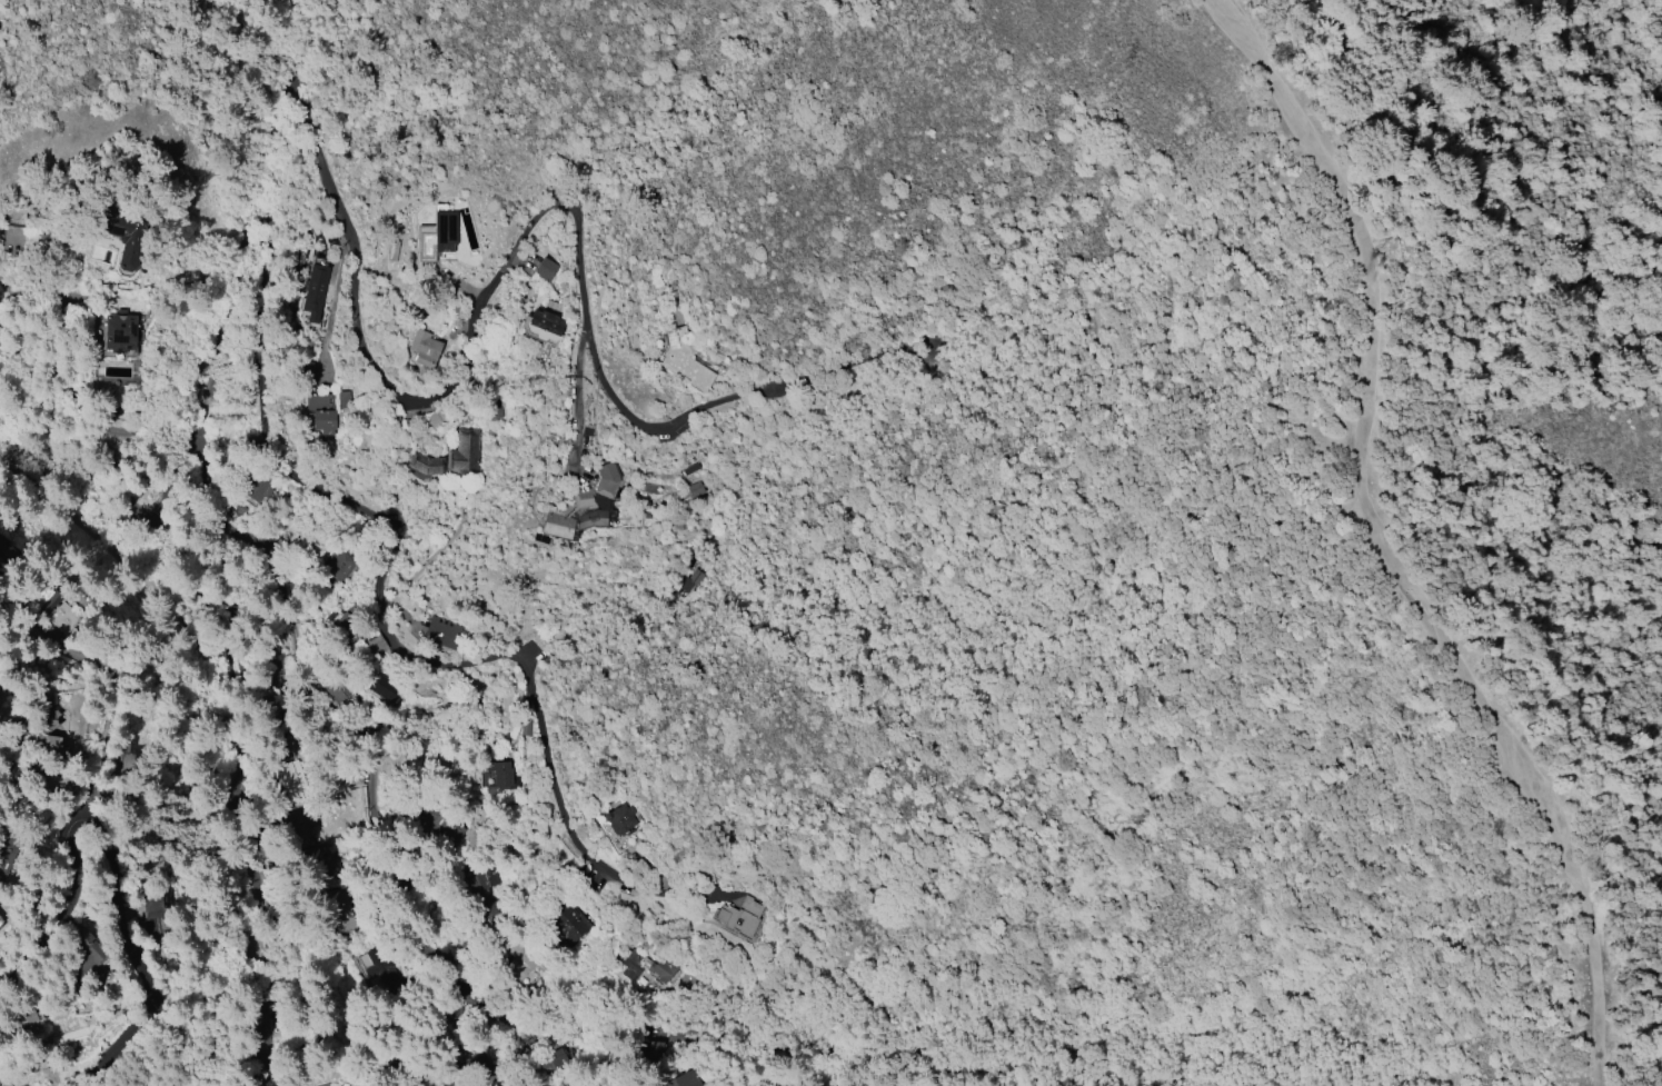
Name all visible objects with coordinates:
building: (125, 235)
building: (435, 237)
building: (546, 268)
building: (314, 291)
road: (479, 325)
building: (544, 326)
building: (119, 332)
building: (424, 348)
building: (685, 360)
building: (307, 371)
building: (344, 399)
road: (203, 411)
building: (321, 411)
building: (436, 418)
building: (465, 455)
building: (425, 466)
building: (258, 485)
road: (90, 486)
building: (650, 488)
building: (695, 488)
building: (585, 506)
road: (1383, 547)
building: (4, 548)
building: (339, 567)
building: (696, 576)
building: (53, 607)
building: (351, 616)
building: (441, 631)
building: (376, 645)
road: (426, 658)
building: (382, 687)
building: (332, 689)
building: (1, 701)
building: (44, 719)
road: (386, 745)
building: (43, 748)
building: (500, 777)
building: (293, 781)
road: (255, 811)
building: (434, 819)
building: (619, 819)
building: (295, 830)
road: (122, 863)
building: (320, 875)
building: (340, 911)
building: (0, 915)
building: (0, 917)
building: (738, 917)
building: (1, 920)
building: (565, 920)
building: (512, 954)
building: (82, 956)
building: (647, 966)
building: (17, 1020)
road: (687, 1038)
road: (1634, 1049)
building: (655, 1053)
road: (515, 1056)
building: (560, 1059)
road: (420, 1067)
building: (336, 1079)
building: (684, 1079)

